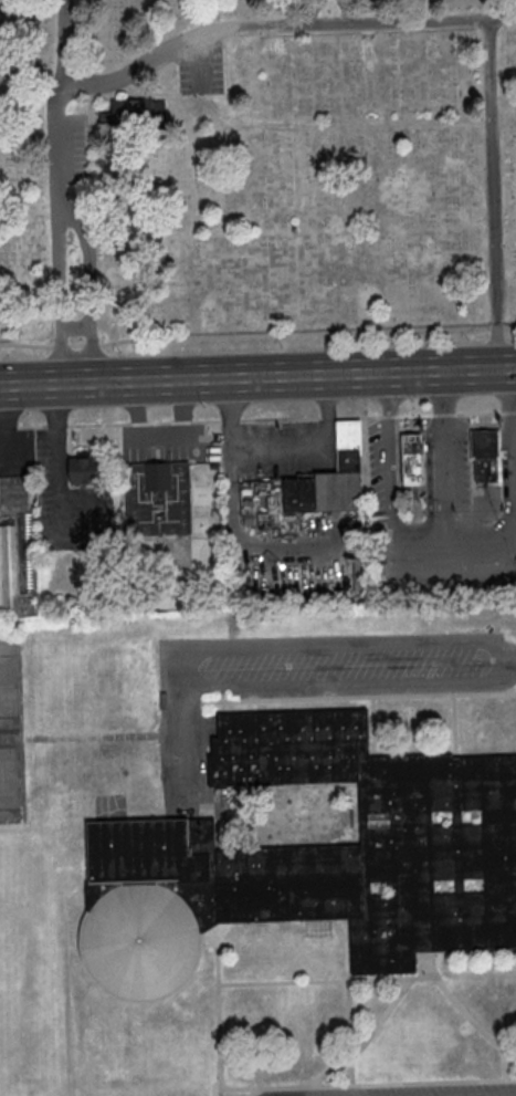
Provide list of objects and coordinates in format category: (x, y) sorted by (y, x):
road: (348, 11)
road: (308, 12)
road: (232, 28)
road: (64, 39)
road: (202, 61)
parking lot: (202, 71)
building: (139, 113)
parking lot: (69, 147)
park: (255, 166)
road: (492, 194)
road: (87, 278)
road: (56, 282)
road: (257, 336)
road: (287, 375)
road: (30, 383)
road: (4, 416)
road: (257, 418)
road: (160, 435)
parking lot: (169, 442)
road: (278, 446)
road: (512, 451)
parking lot: (17, 453)
road: (387, 455)
building: (483, 455)
building: (408, 458)
road: (232, 466)
building: (84, 468)
building: (325, 481)
road: (446, 481)
building: (157, 498)
road: (57, 519)
road: (482, 534)
road: (253, 545)
building: (27, 553)
building: (8, 571)
building: (360, 574)
road: (282, 645)
road: (351, 686)
road: (359, 696)
park: (11, 734)
building: (309, 858)
road: (391, 977)
road: (347, 1003)
road: (218, 1011)
road: (366, 1038)
road: (510, 1056)
road: (367, 1083)
road: (252, 1092)

